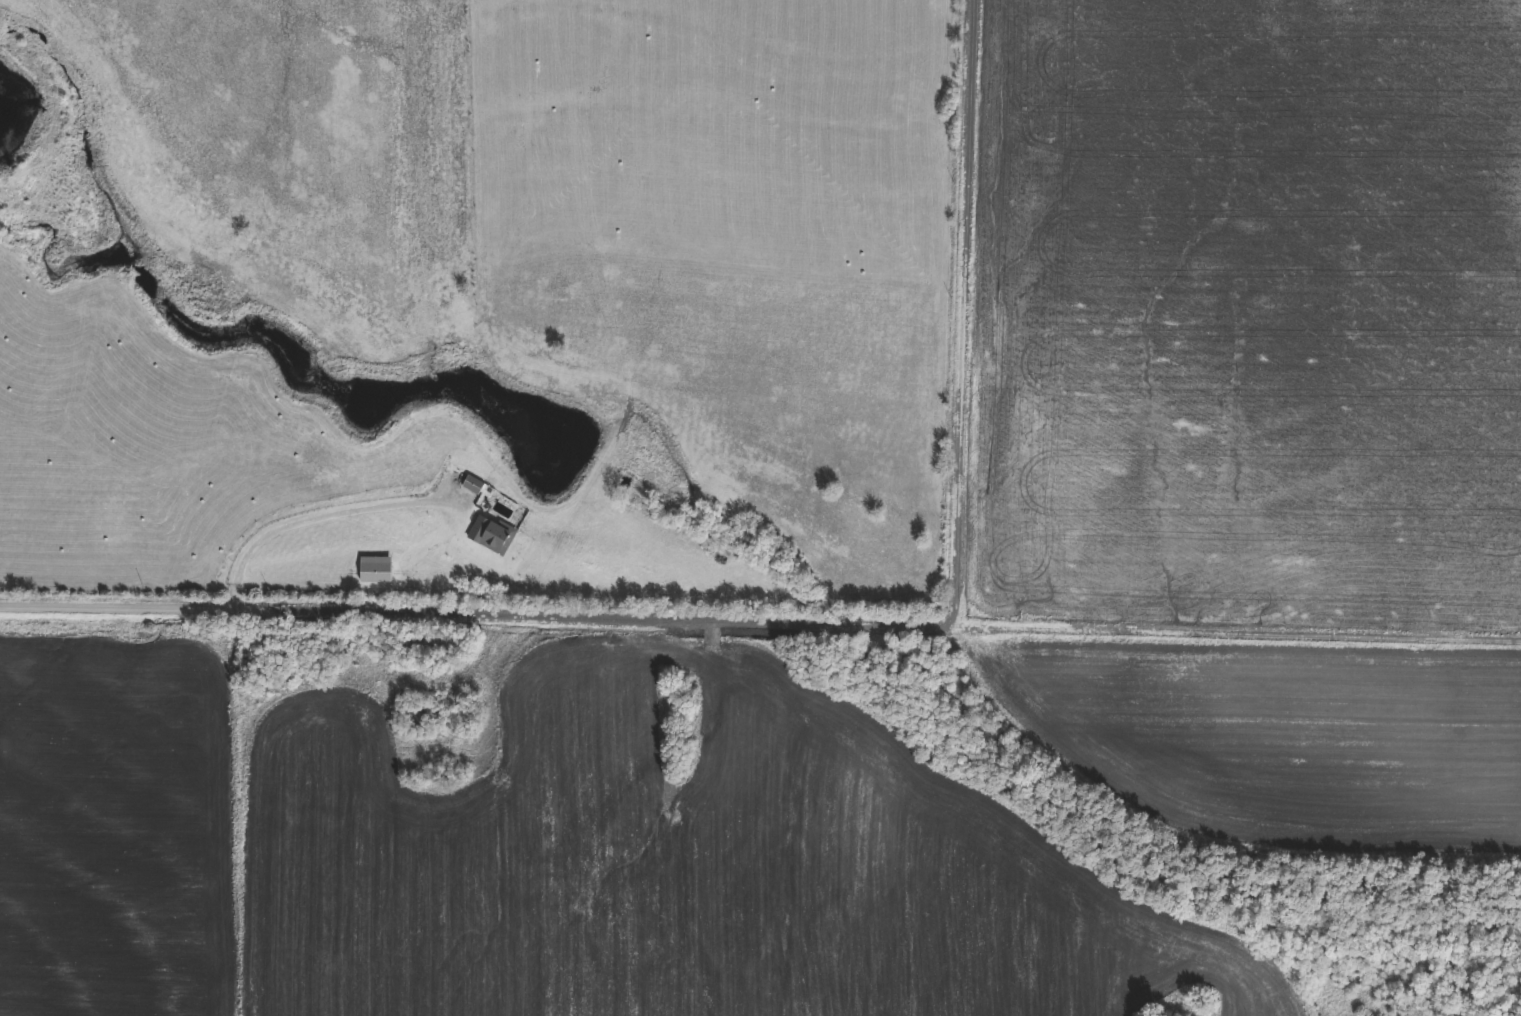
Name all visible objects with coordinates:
road: (963, 312)
building: (476, 486)
road: (316, 519)
building: (494, 536)
building: (379, 571)
road: (477, 618)
road: (1238, 630)

